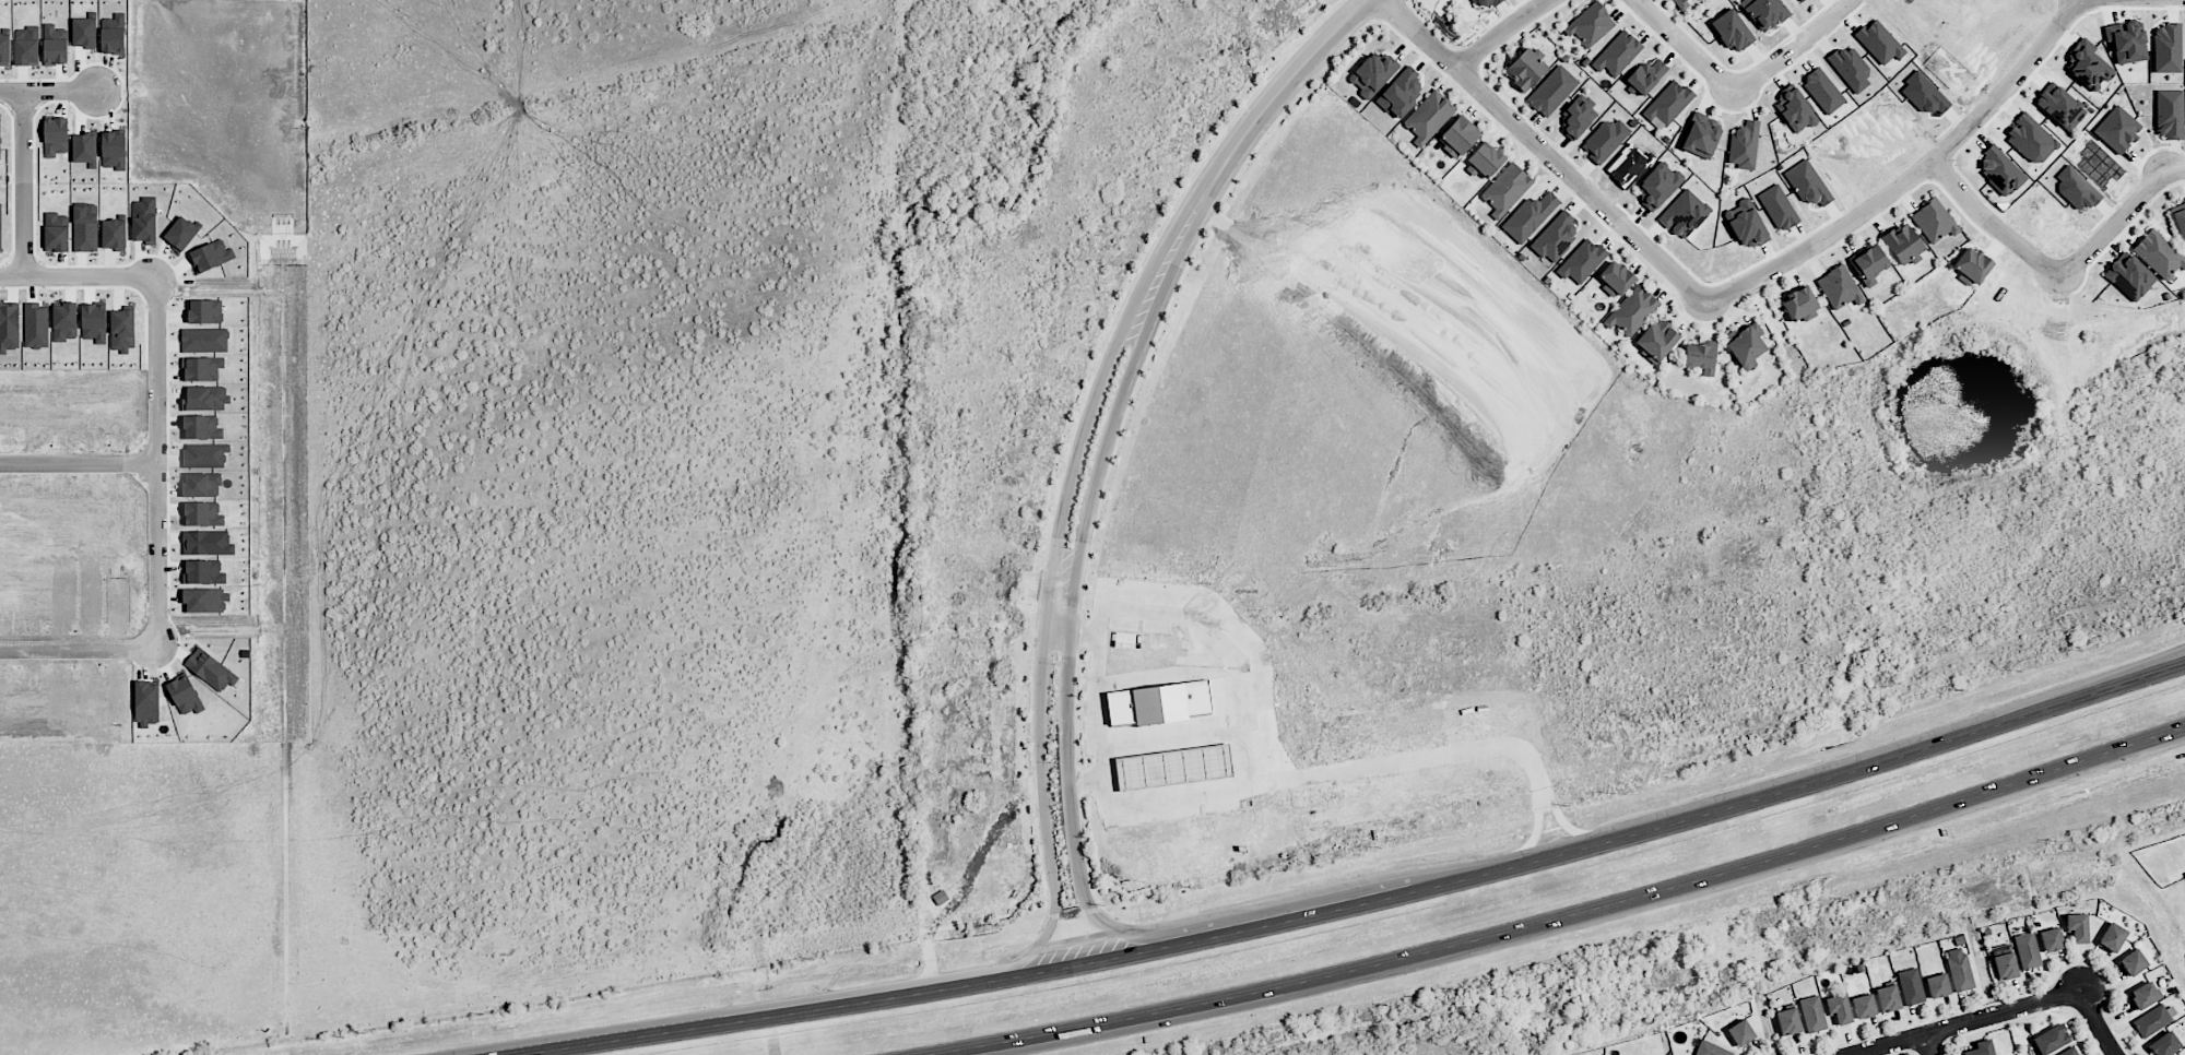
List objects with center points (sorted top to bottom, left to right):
building: (1677, 1)
building: (1803, 1)
building: (1481, 3)
building: (1763, 13)
building: (1590, 24)
road: (1500, 31)
building: (1732, 31)
building: (1879, 42)
building: (2126, 42)
building: (2166, 48)
building: (56, 50)
building: (1617, 54)
building: (2088, 64)
building: (1850, 68)
building: (1524, 69)
building: (1371, 74)
building: (1645, 75)
road: (1738, 87)
building: (1822, 90)
building: (1551, 91)
road: (48, 92)
building: (1399, 93)
building: (1668, 103)
building: (2059, 106)
building: (1795, 110)
building: (2169, 112)
building: (1578, 116)
building: (1428, 117)
building: (2117, 129)
building: (56, 135)
building: (1700, 135)
building: (1457, 137)
building: (1605, 139)
building: (2030, 139)
building: (0, 141)
road: (1239, 141)
building: (1744, 144)
road: (1546, 150)
building: (1484, 159)
building: (1999, 169)
road: (1912, 174)
building: (1807, 183)
road: (22, 185)
building: (1657, 185)
building: (1505, 189)
building: (1777, 208)
building: (1684, 213)
building: (1528, 216)
building: (1933, 221)
building: (2178, 221)
building: (1745, 224)
building: (1555, 236)
building: (1902, 242)
building: (2159, 253)
building: (1581, 261)
building: (1868, 263)
building: (1971, 264)
road: (2058, 274)
building: (2128, 275)
building: (1615, 277)
building: (1840, 288)
building: (1799, 305)
building: (1631, 310)
building: (1655, 340)
building: (1744, 345)
building: (1700, 357)
road: (156, 370)
road: (1098, 466)
road: (1048, 600)
road: (1056, 630)
road: (1084, 632)
road: (157, 633)
road: (2171, 664)
road: (2171, 667)
building: (1159, 701)
road: (2184, 724)
road: (2184, 724)
road: (1179, 736)
road: (1066, 767)
building: (1172, 767)
road: (1083, 781)
road: (1100, 790)
road: (1576, 833)
road: (1533, 837)
road: (1816, 843)
road: (1345, 910)
building: (2077, 926)
road: (1130, 932)
building: (2112, 937)
building: (2050, 939)
building: (2027, 950)
building: (2003, 961)
building: (2133, 962)
road: (1013, 963)
building: (1937, 985)
building: (1910, 986)
building: (2142, 995)
building: (1887, 997)
road: (1181, 1006)
building: (1863, 1006)
building: (1838, 1008)
road: (1221, 1010)
building: (1811, 1013)
building: (2151, 1020)
building: (1787, 1021)
road: (1961, 1022)
road: (2097, 1022)
building: (1740, 1032)
building: (2050, 1039)
road: (1928, 1044)
building: (2164, 1044)
road: (546, 1047)
building: (1711, 1048)
building: (1981, 1048)
building: (2068, 1052)
building: (2180, 1054)

